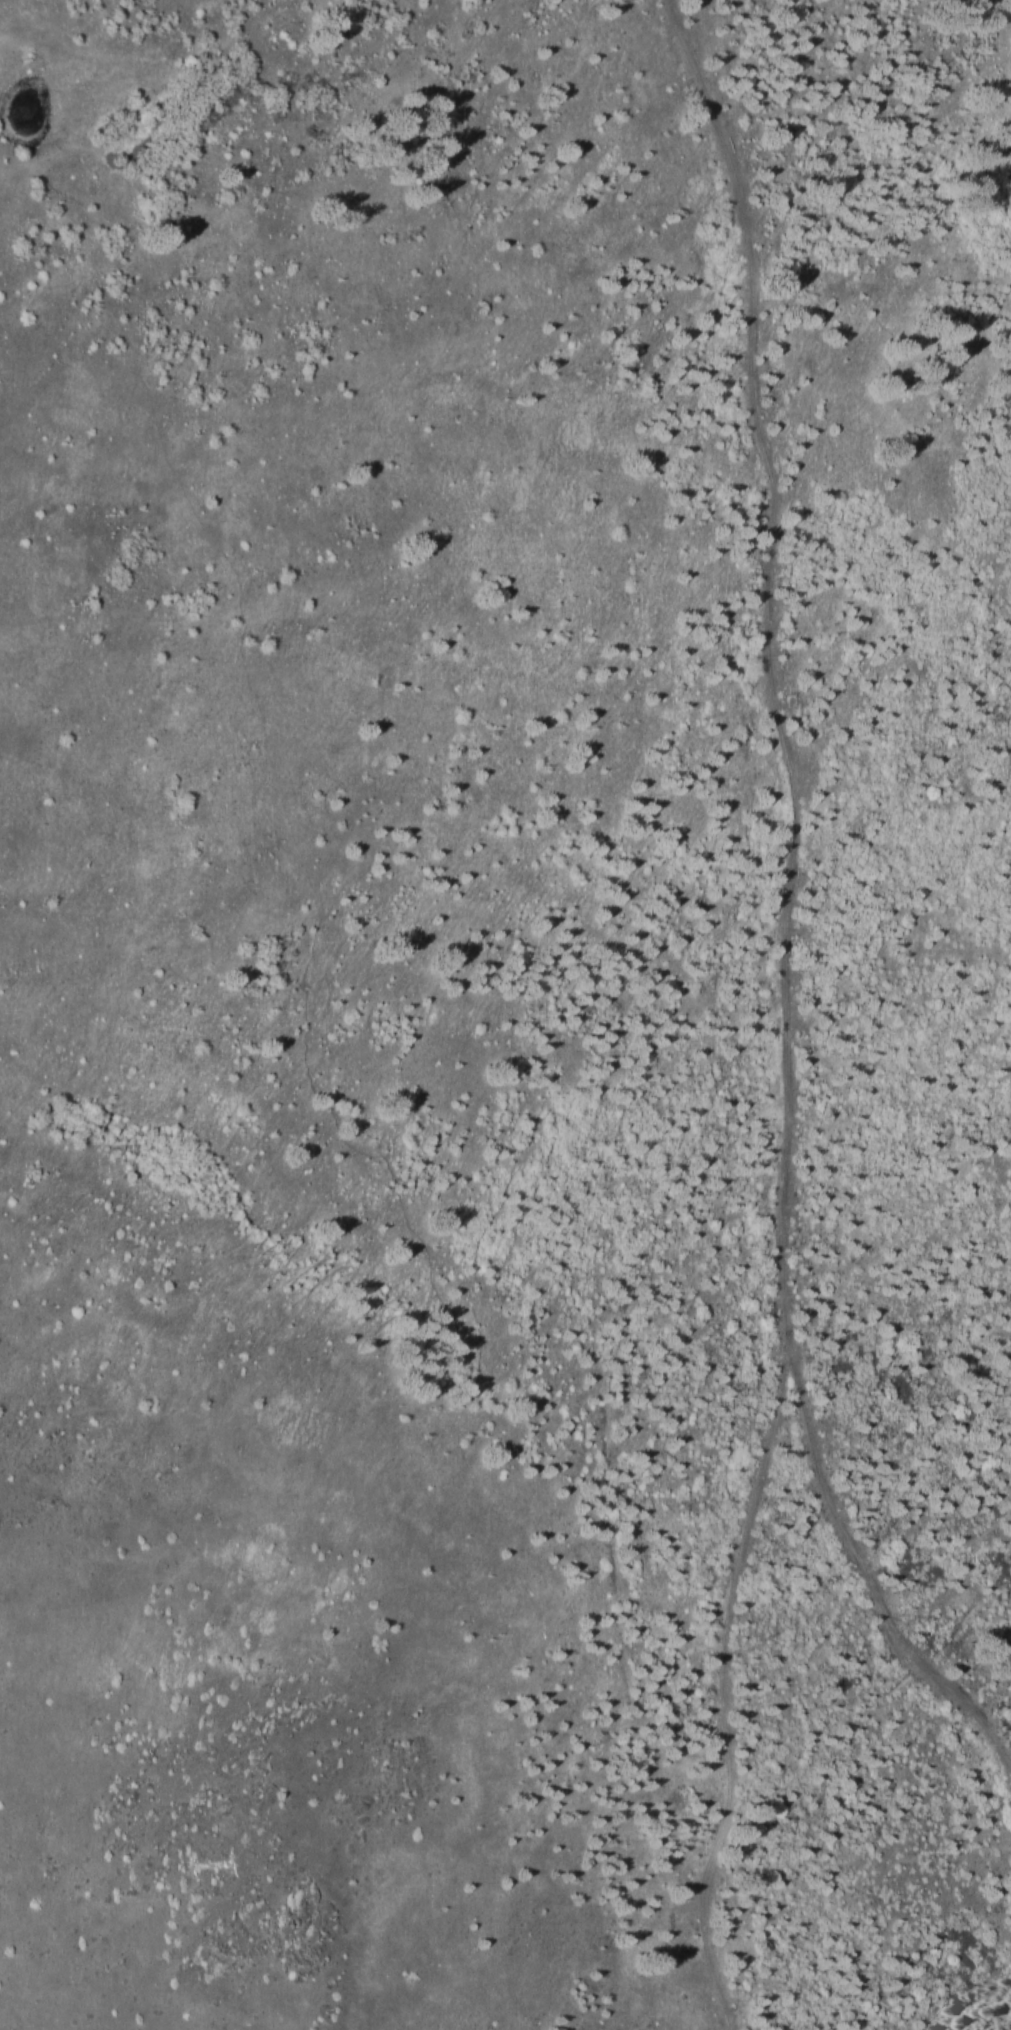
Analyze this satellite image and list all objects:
road: (749, 931)

